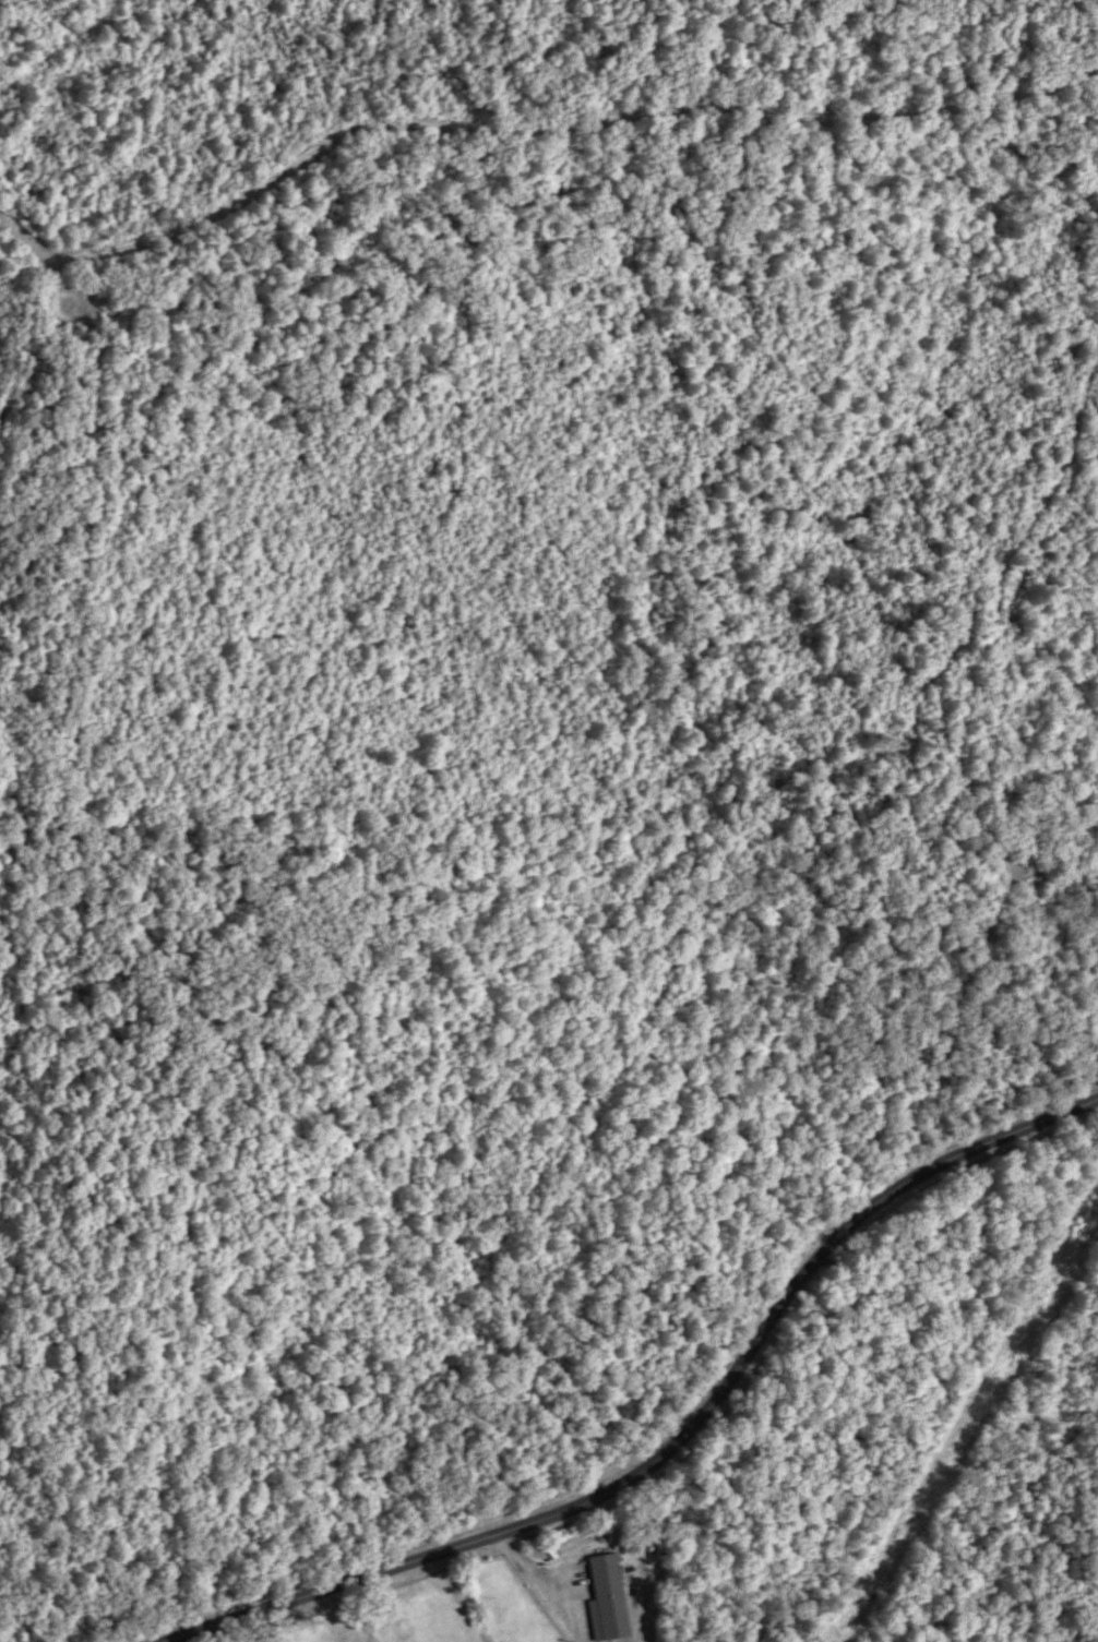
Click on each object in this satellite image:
road: (533, 131)
road: (41, 345)
road: (670, 1442)
road: (668, 1547)
building: (606, 1599)

